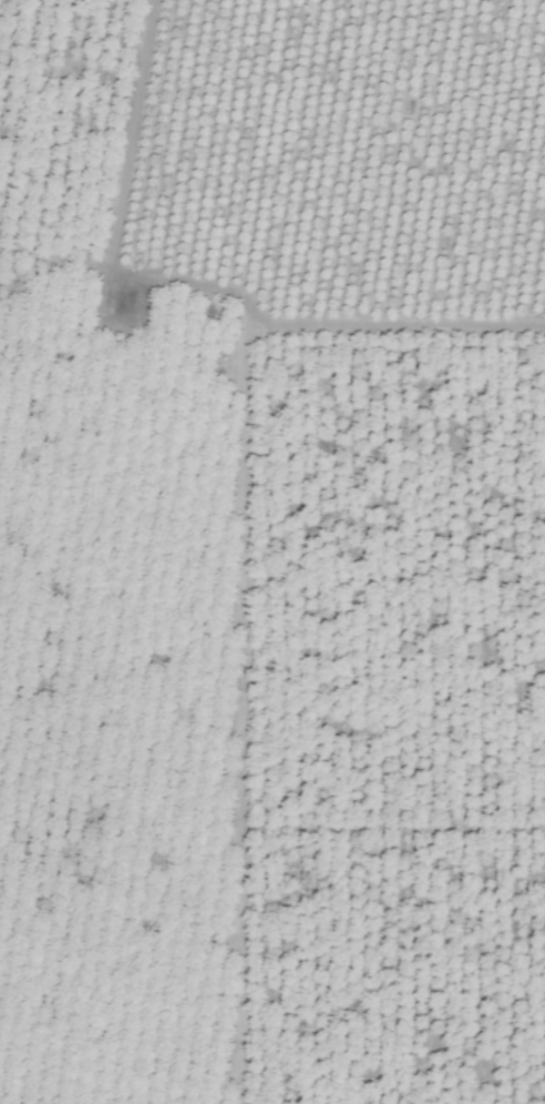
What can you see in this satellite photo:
building: (224, 166)

